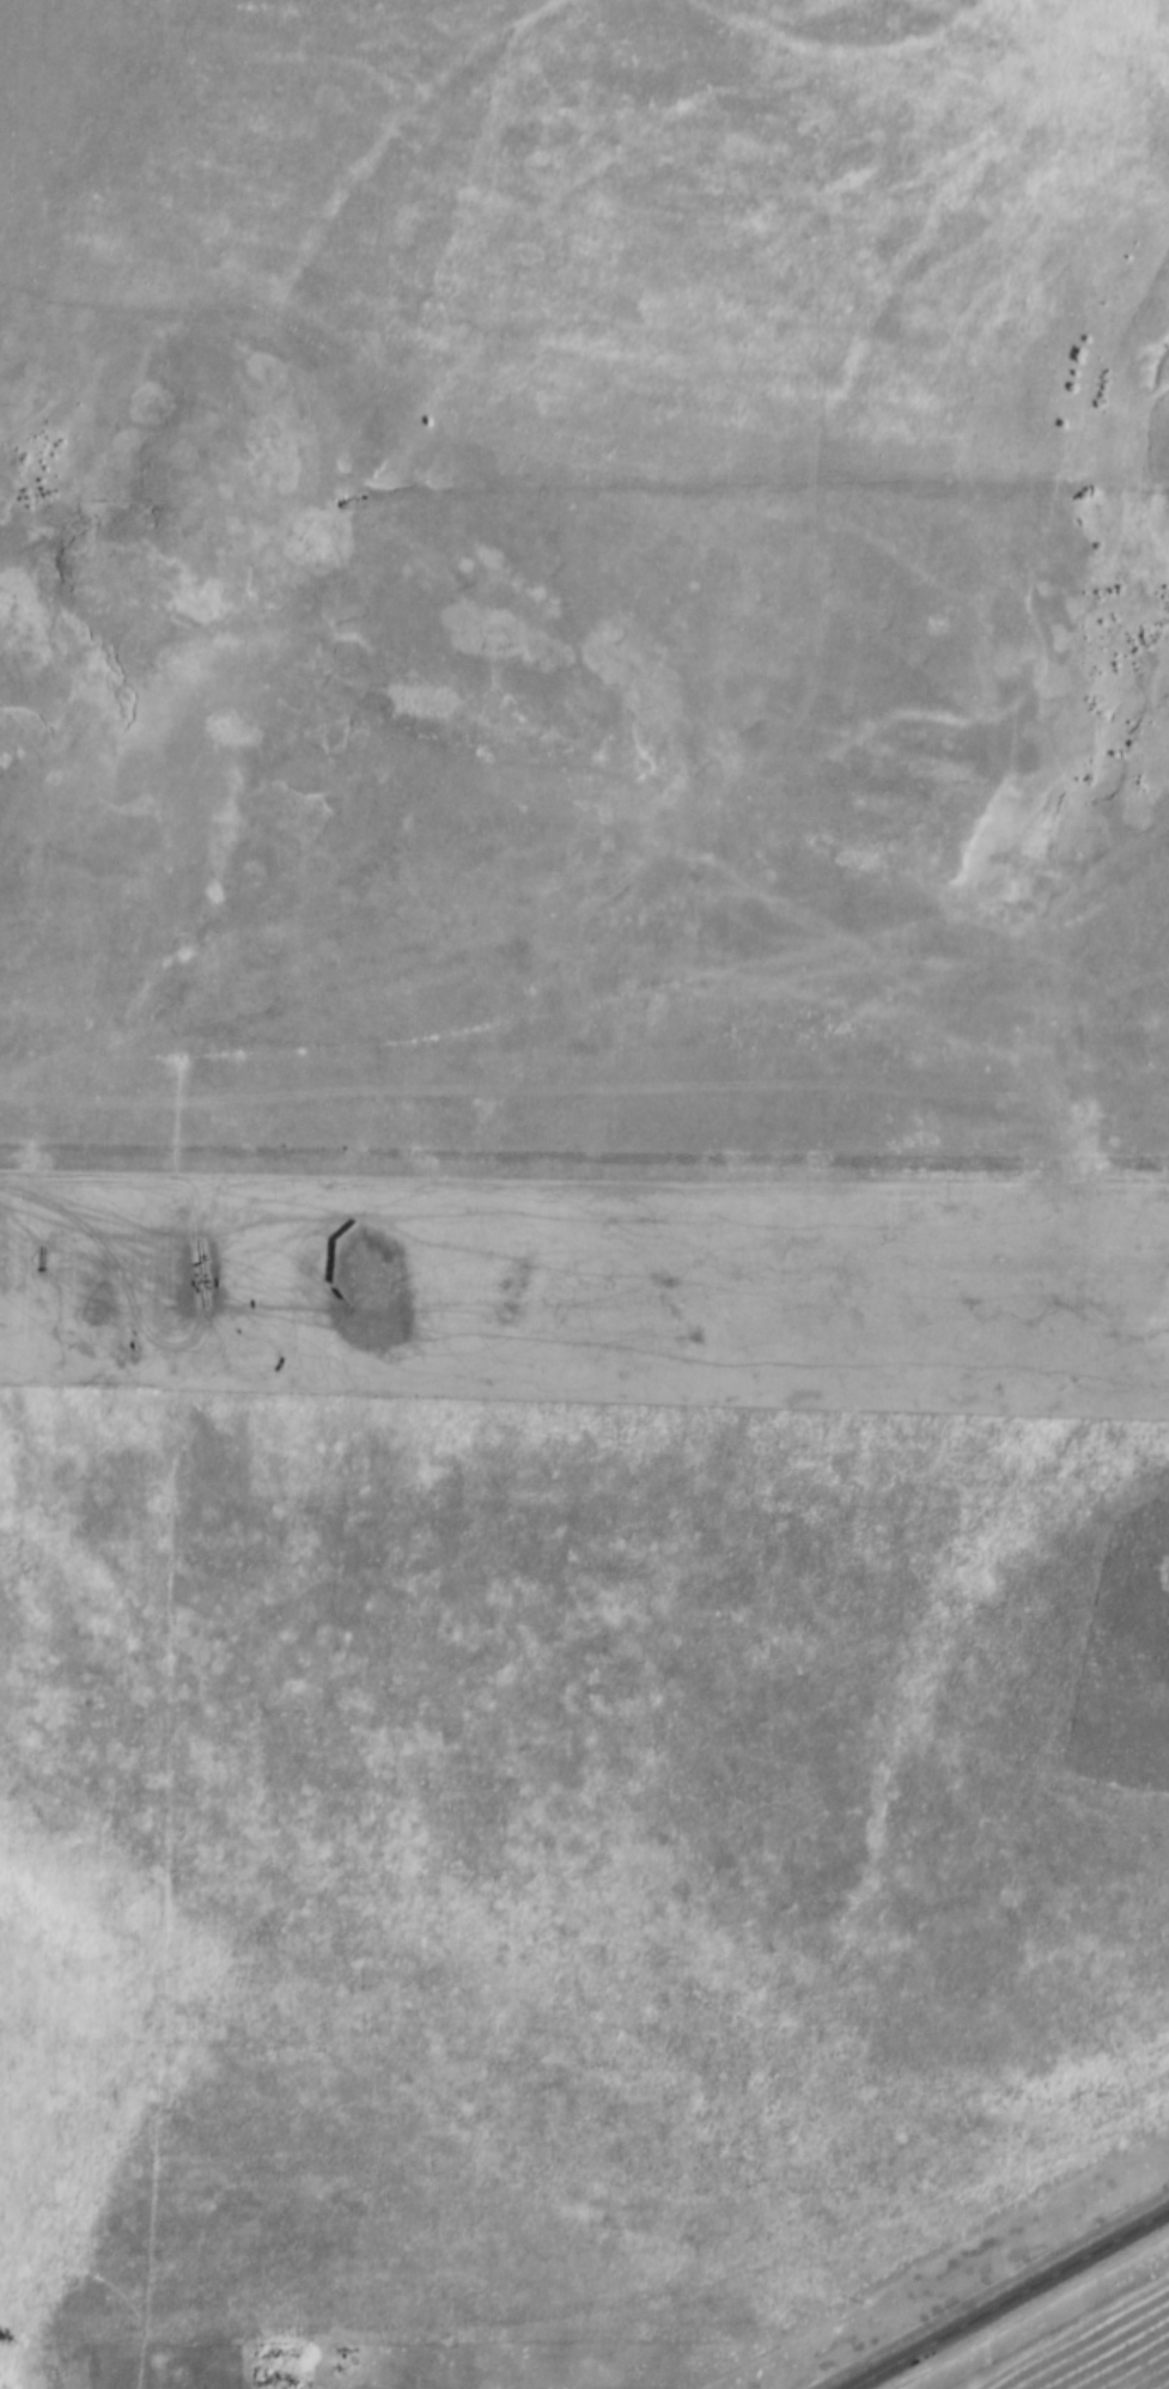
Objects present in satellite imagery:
road: (1010, 2299)

